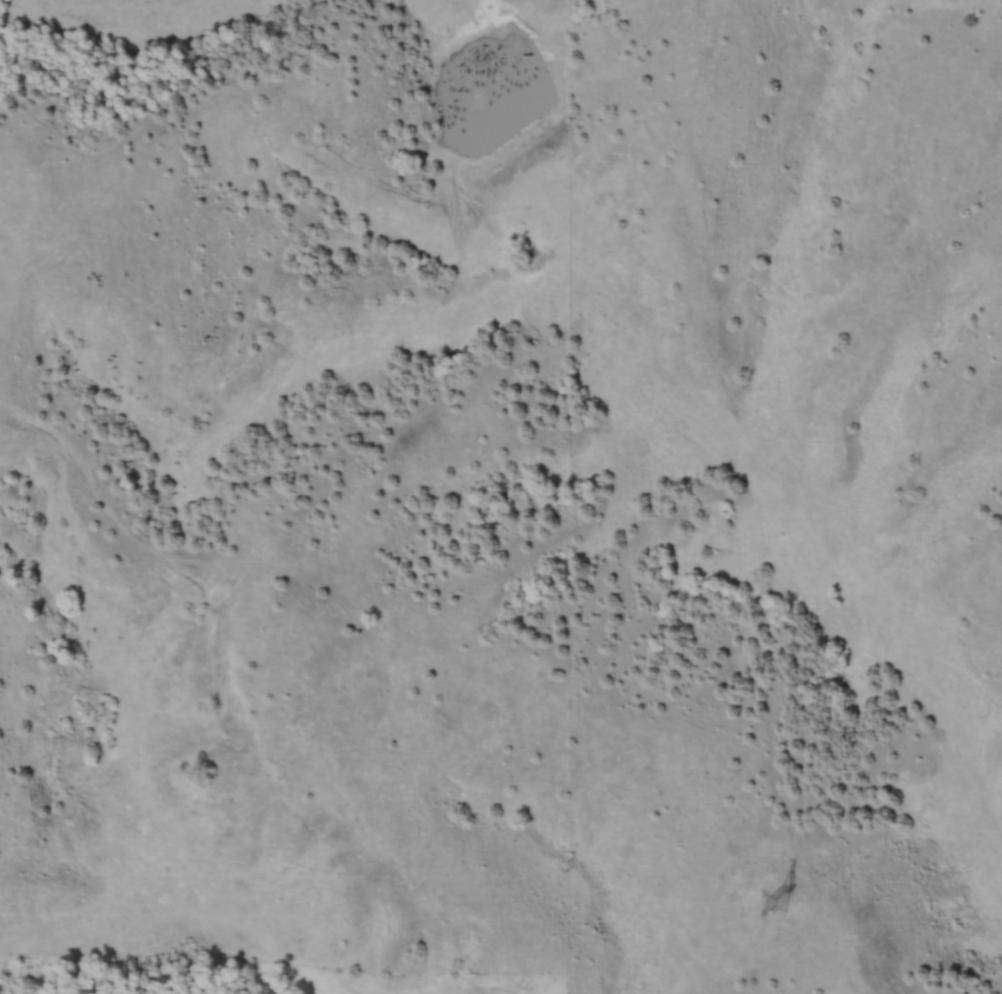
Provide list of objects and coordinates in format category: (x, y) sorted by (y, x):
power tower: (778, 903)

